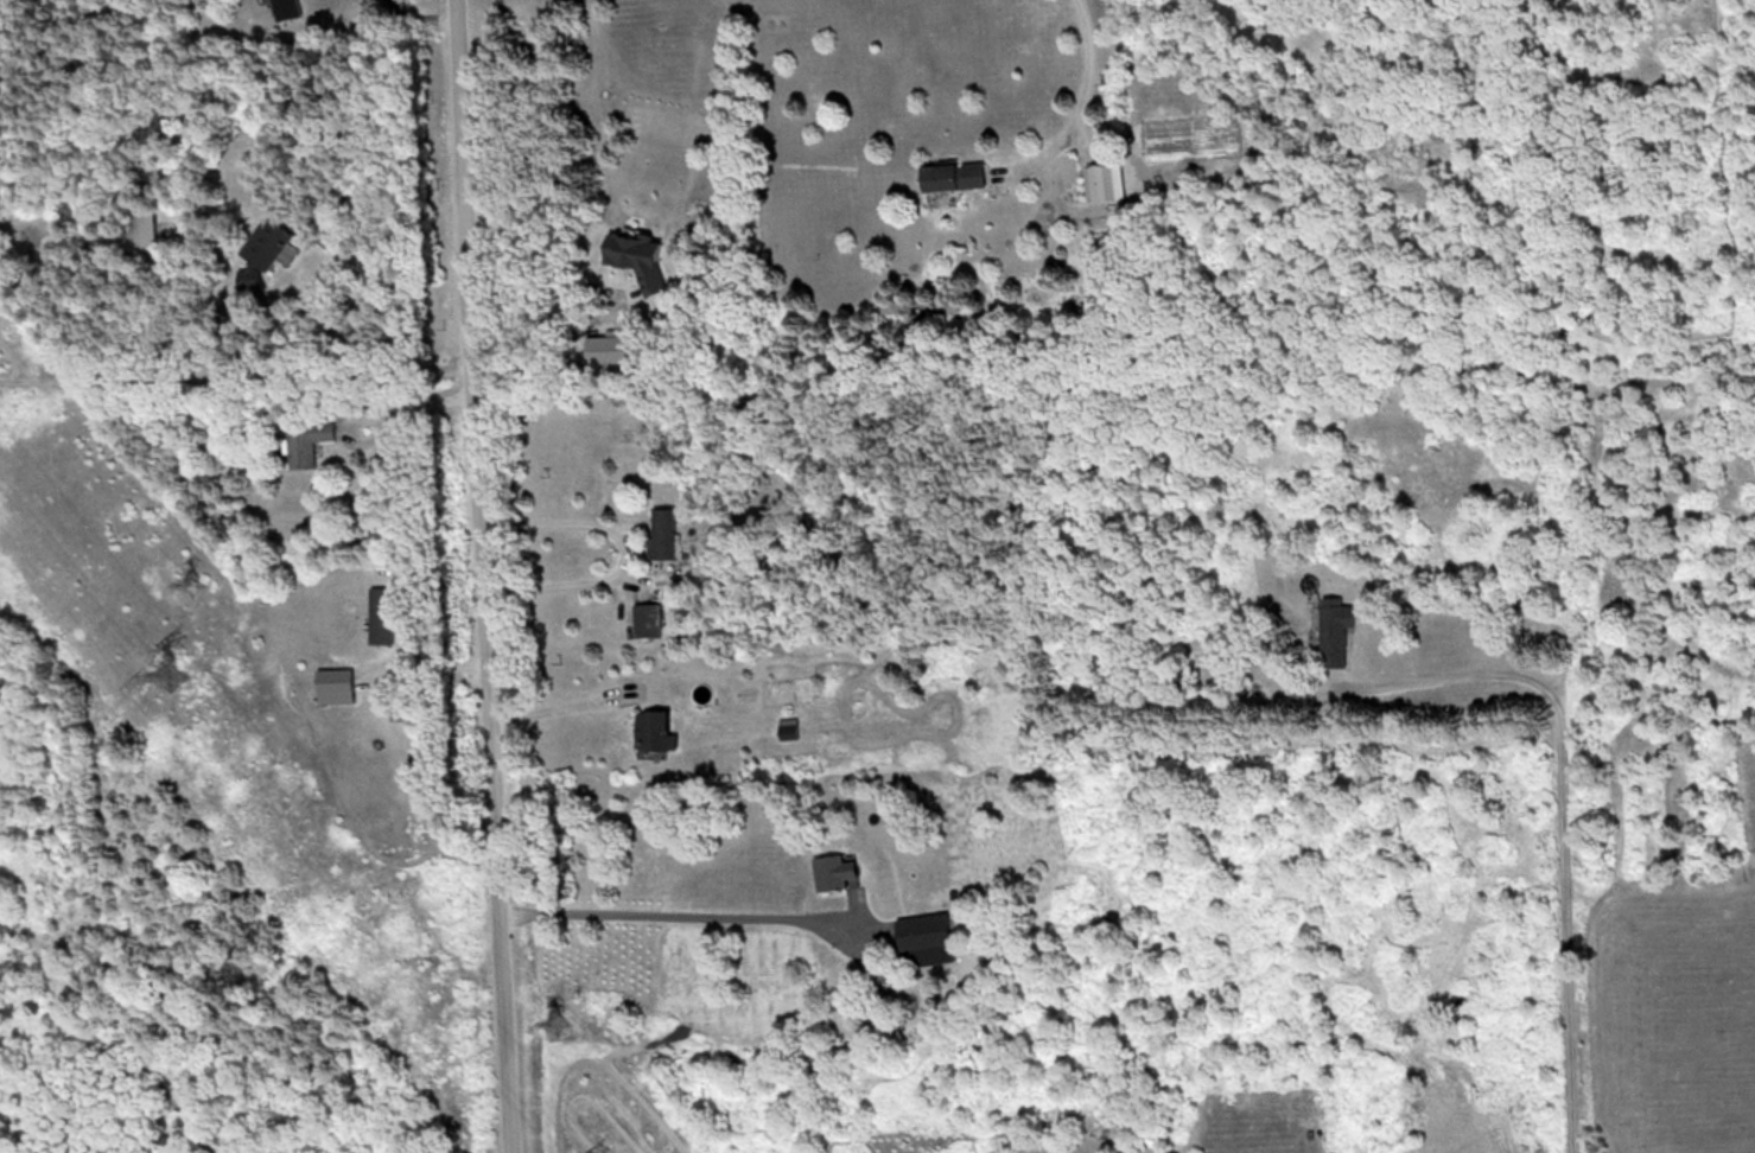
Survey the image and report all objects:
building: (284, 7)
road: (425, 9)
road: (1087, 87)
building: (950, 174)
building: (1099, 180)
building: (260, 238)
road: (274, 365)
road: (379, 413)
building: (306, 440)
building: (660, 533)
road: (624, 555)
road: (482, 576)
power tower: (195, 578)
building: (380, 614)
building: (644, 619)
building: (1334, 629)
power tower: (172, 674)
building: (332, 684)
building: (1297, 692)
road: (558, 701)
building: (651, 730)
building: (791, 730)
building: (936, 786)
road: (1564, 805)
building: (833, 869)
road: (679, 917)
power tower: (561, 1020)

